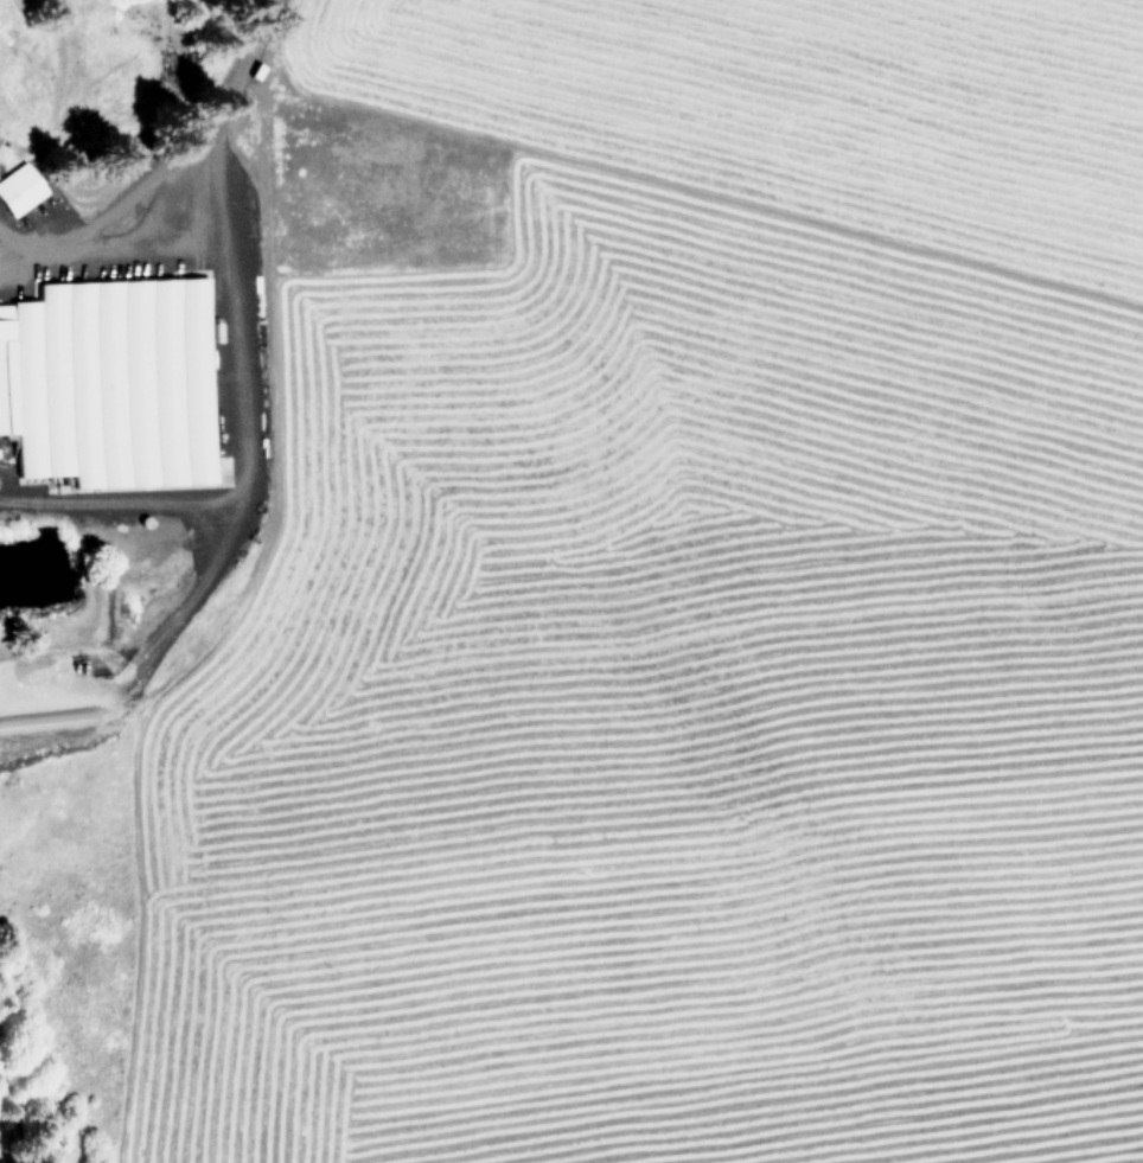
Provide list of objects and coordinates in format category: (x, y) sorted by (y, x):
road: (165, 168)
building: (20, 187)
road: (155, 268)
road: (224, 368)
building: (110, 381)
road: (115, 500)
crop: (571, 580)
road: (142, 626)

